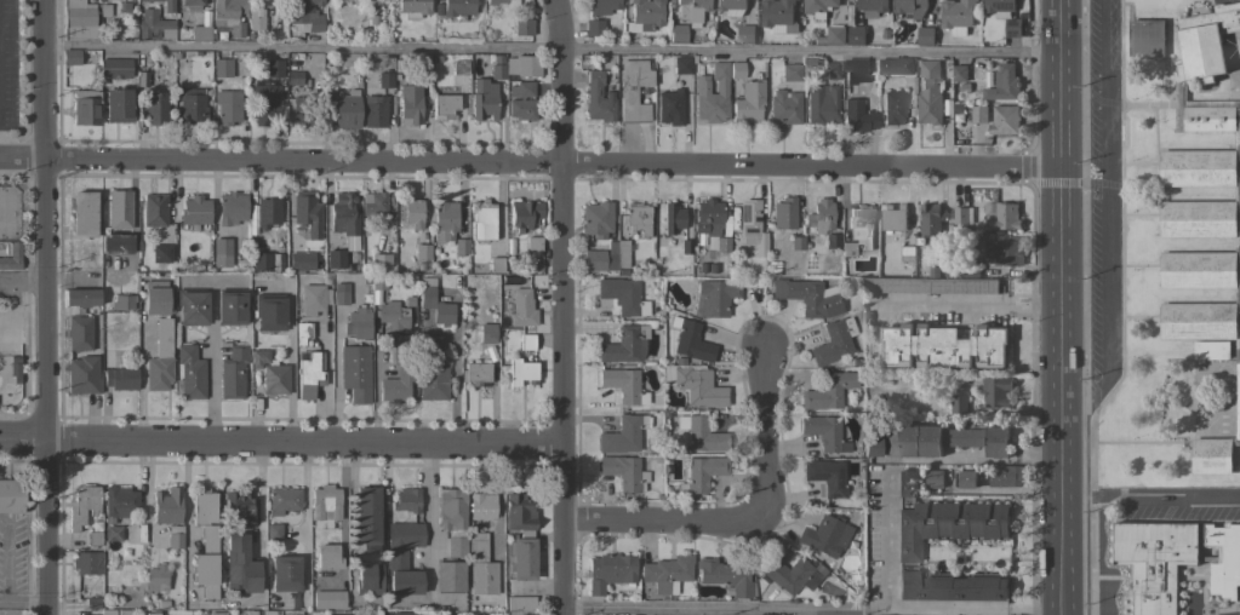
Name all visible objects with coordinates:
building: (150, 1)
building: (496, 1)
building: (512, 4)
building: (193, 5)
building: (602, 6)
building: (731, 6)
building: (413, 7)
building: (458, 7)
building: (819, 7)
building: (872, 7)
building: (999, 7)
building: (909, 8)
building: (691, 11)
building: (229, 15)
building: (305, 16)
building: (644, 16)
building: (778, 16)
building: (956, 16)
building: (79, 21)
building: (256, 21)
building: (154, 25)
building: (522, 27)
building: (593, 27)
building: (1012, 27)
building: (676, 33)
building: (200, 34)
building: (745, 34)
building: (856, 35)
building: (833, 36)
building: (925, 36)
building: (1147, 38)
road: (553, 50)
building: (70, 57)
building: (681, 64)
building: (522, 65)
building: (896, 67)
building: (115, 68)
building: (222, 68)
building: (459, 68)
building: (274, 69)
building: (736, 70)
building: (832, 70)
building: (497, 71)
building: (790, 71)
building: (853, 73)
building: (959, 73)
building: (384, 80)
building: (1004, 84)
building: (633, 91)
building: (930, 93)
building: (712, 94)
building: (482, 99)
building: (598, 99)
building: (745, 100)
building: (521, 102)
building: (265, 103)
building: (408, 104)
building: (822, 104)
building: (118, 105)
building: (193, 105)
building: (86, 107)
building: (227, 107)
building: (444, 107)
building: (669, 107)
building: (784, 107)
building: (892, 108)
building: (155, 109)
building: (302, 110)
building: (345, 110)
building: (373, 111)
building: (978, 114)
building: (857, 116)
building: (1005, 119)
road: (528, 160)
building: (373, 203)
building: (230, 208)
building: (119, 209)
building: (154, 211)
building: (194, 211)
building: (1204, 212)
building: (82, 213)
building: (267, 213)
building: (307, 213)
building: (412, 213)
building: (525, 213)
building: (783, 214)
building: (1002, 214)
building: (343, 215)
building: (962, 215)
road: (1109, 215)
building: (673, 217)
building: (708, 217)
building: (819, 217)
building: (893, 217)
building: (596, 219)
building: (636, 219)
building: (930, 219)
building: (444, 220)
building: (482, 220)
building: (752, 226)
building: (861, 226)
building: (832, 241)
building: (115, 243)
building: (533, 243)
building: (795, 243)
building: (461, 247)
building: (722, 247)
building: (847, 249)
building: (422, 252)
building: (1006, 252)
building: (161, 253)
building: (221, 253)
building: (622, 253)
building: (907, 253)
building: (11, 257)
building: (335, 259)
building: (299, 260)
building: (379, 260)
building: (601, 260)
building: (261, 261)
building: (496, 264)
building: (971, 269)
building: (378, 282)
road: (4, 283)
road: (28, 284)
building: (932, 284)
building: (341, 294)
building: (619, 294)
building: (807, 297)
building: (81, 298)
building: (155, 298)
building: (714, 298)
building: (313, 299)
building: (122, 301)
road: (972, 304)
road: (48, 306)
building: (192, 306)
building: (230, 306)
building: (435, 306)
road: (564, 306)
road: (1062, 307)
building: (522, 309)
road: (8, 310)
building: (269, 311)
building: (393, 316)
building: (358, 323)
building: (302, 332)
building: (79, 333)
building: (486, 333)
building: (691, 341)
building: (526, 343)
building: (833, 343)
building: (625, 345)
building: (943, 346)
building: (402, 350)
building: (433, 350)
building: (1211, 350)
road: (333, 356)
building: (160, 358)
road: (211, 362)
road: (290, 366)
road: (455, 372)
building: (521, 372)
building: (189, 373)
building: (233, 373)
building: (355, 373)
building: (475, 373)
building: (270, 374)
building: (82, 375)
building: (310, 375)
building: (120, 378)
building: (433, 381)
road: (141, 383)
building: (693, 384)
building: (623, 385)
building: (398, 386)
building: (828, 391)
building: (996, 391)
building: (958, 403)
road: (767, 432)
building: (823, 432)
building: (701, 433)
building: (622, 435)
building: (950, 439)
road: (282, 443)
building: (872, 446)
road: (975, 461)
building: (623, 472)
building: (702, 473)
building: (825, 476)
building: (1007, 476)
building: (966, 478)
building: (935, 479)
road: (1152, 494)
building: (11, 495)
building: (282, 500)
building: (406, 500)
building: (119, 501)
building: (82, 506)
building: (166, 506)
building: (325, 506)
building: (481, 507)
building: (241, 508)
road: (261, 518)
building: (366, 518)
building: (452, 519)
road: (664, 519)
road: (430, 524)
building: (952, 524)
building: (112, 533)
building: (274, 533)
building: (520, 536)
building: (824, 536)
building: (175, 538)
road: (304, 539)
building: (206, 545)
building: (402, 557)
building: (327, 558)
building: (1175, 561)
building: (87, 563)
building: (240, 565)
building: (479, 565)
building: (608, 571)
building: (285, 573)
building: (667, 573)
building: (790, 574)
building: (448, 576)
building: (725, 576)
building: (156, 577)
building: (368, 579)
building: (328, 599)
road: (25, 600)
building: (92, 600)
building: (522, 603)
building: (107, 611)
road: (815, 611)
building: (124, 613)
building: (153, 613)
building: (216, 614)
building: (400, 614)
building: (455, 614)
building: (525, 614)

